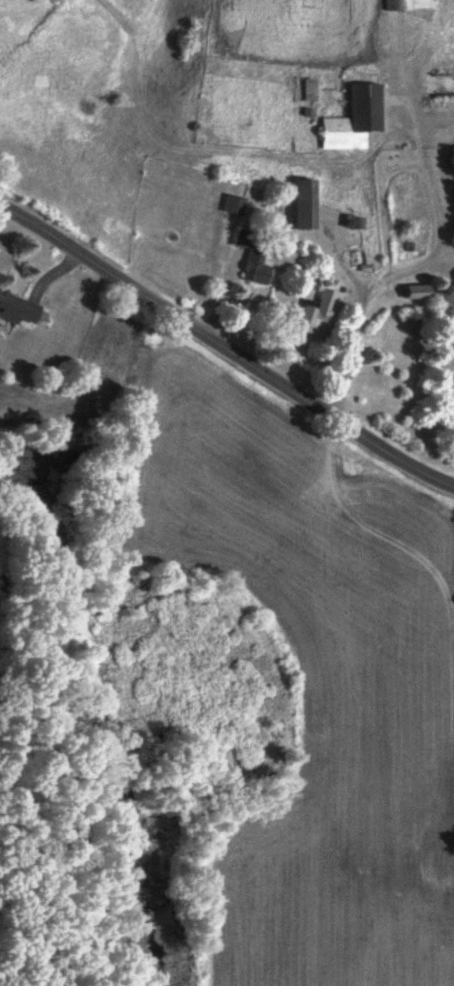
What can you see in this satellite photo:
building: (406, 4)
building: (348, 119)
building: (296, 204)
building: (231, 205)
building: (250, 257)
road: (415, 267)
building: (410, 292)
building: (17, 310)
building: (314, 314)
road: (226, 349)

